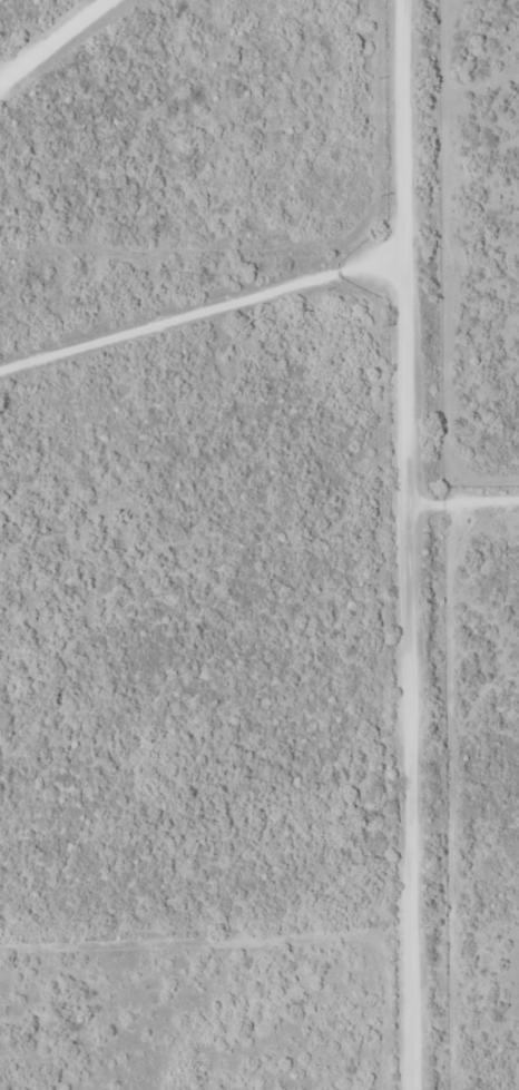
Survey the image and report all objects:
road: (210, 306)
road: (409, 544)

